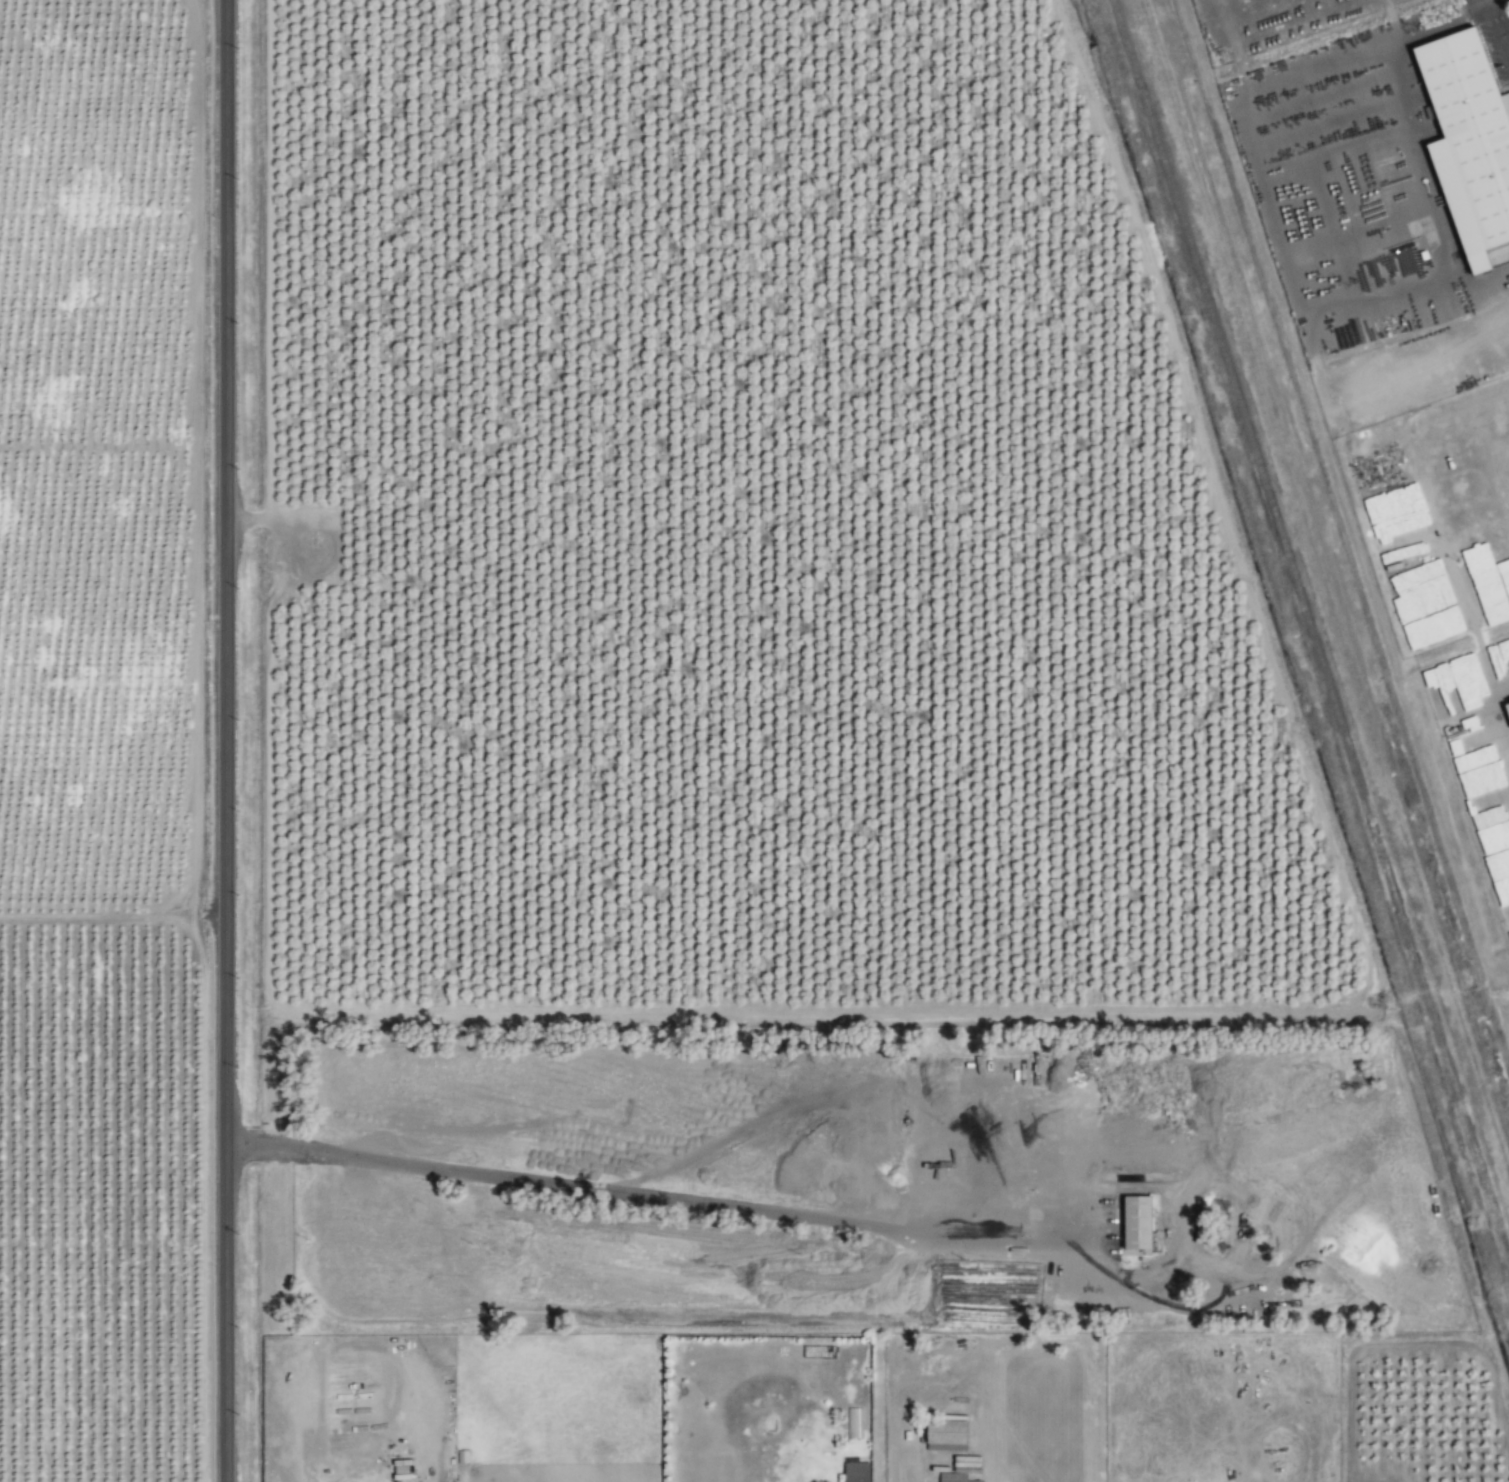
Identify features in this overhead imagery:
road: (1487, 1)
road: (1500, 20)
building: (1466, 142)
road: (1281, 177)
building: (1418, 454)
road: (266, 523)
building: (1502, 584)
building: (1418, 607)
railway: (1310, 632)
road: (226, 741)
building: (1470, 759)
building: (1500, 885)
road: (652, 1199)
building: (1132, 1223)
road: (953, 1388)
building: (942, 1434)
building: (853, 1472)
road: (875, 1480)

